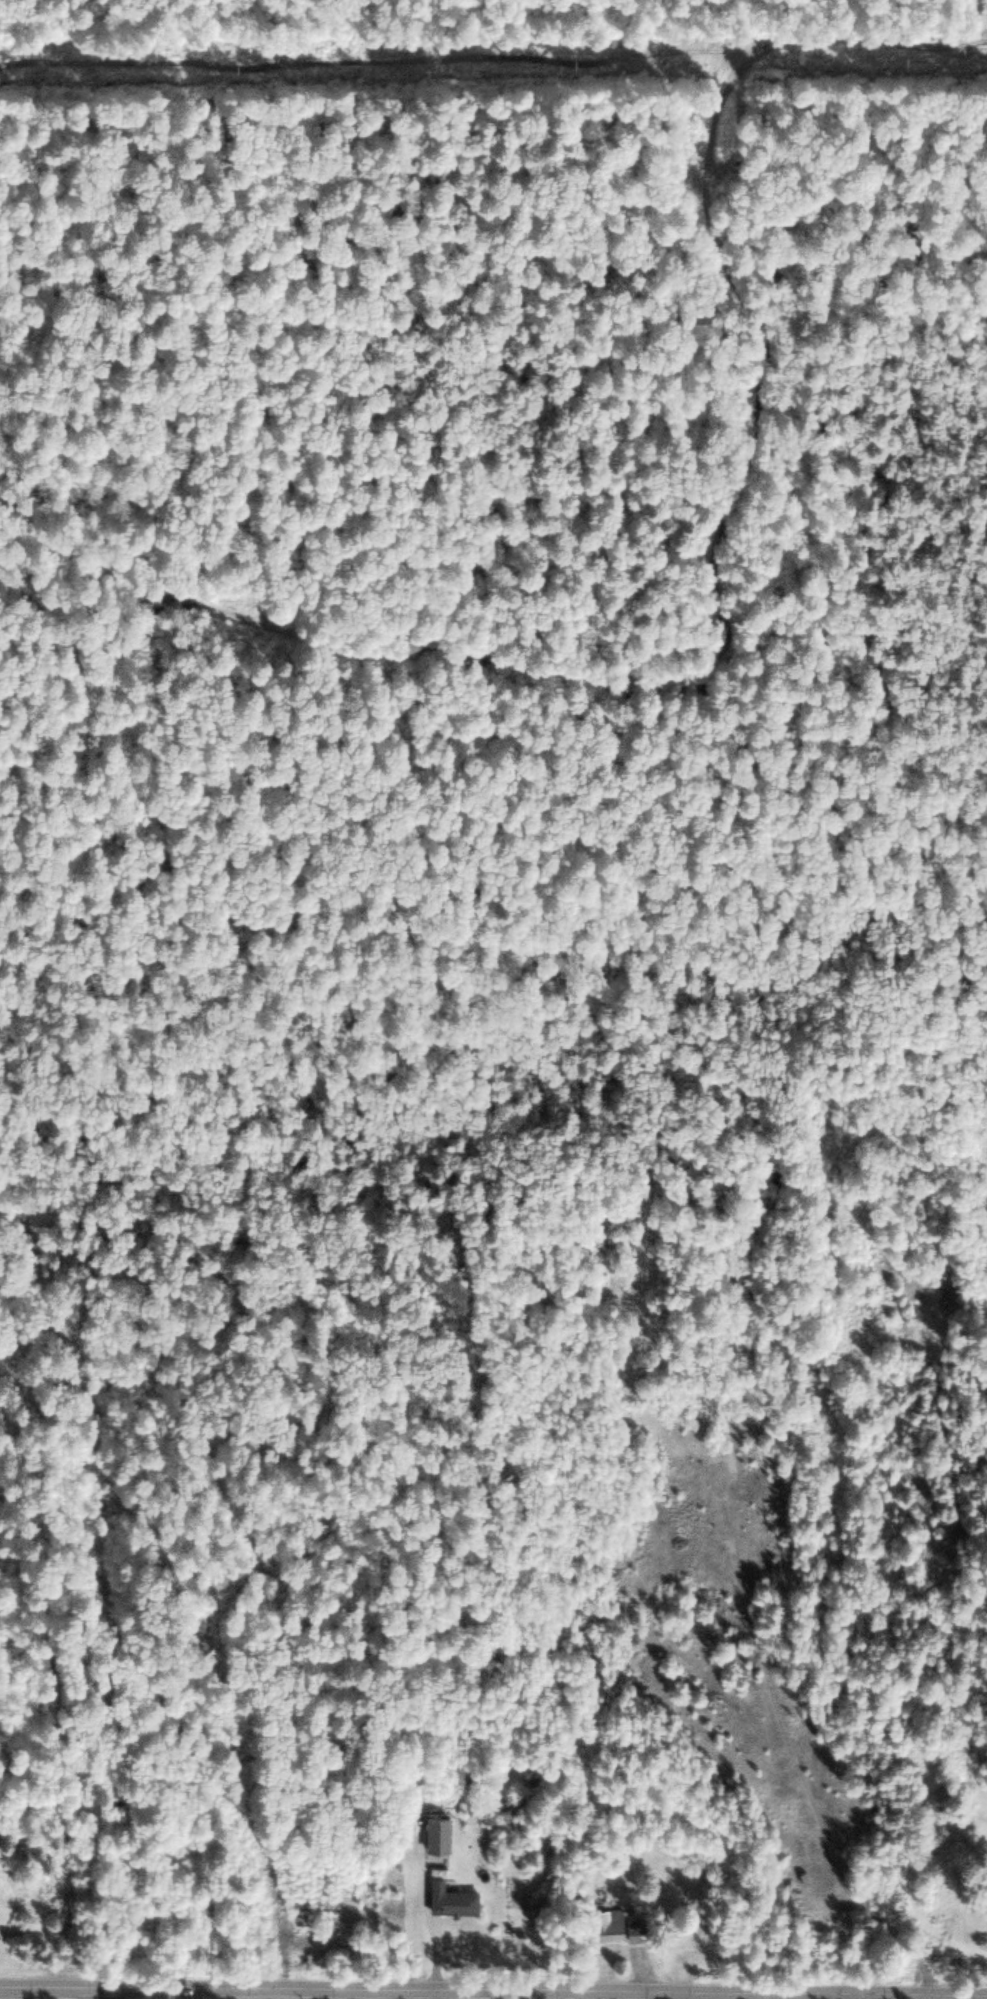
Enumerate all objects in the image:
building: (437, 1836)
building: (450, 1901)
building: (633, 1939)
road: (435, 1994)
road: (282, 1996)

